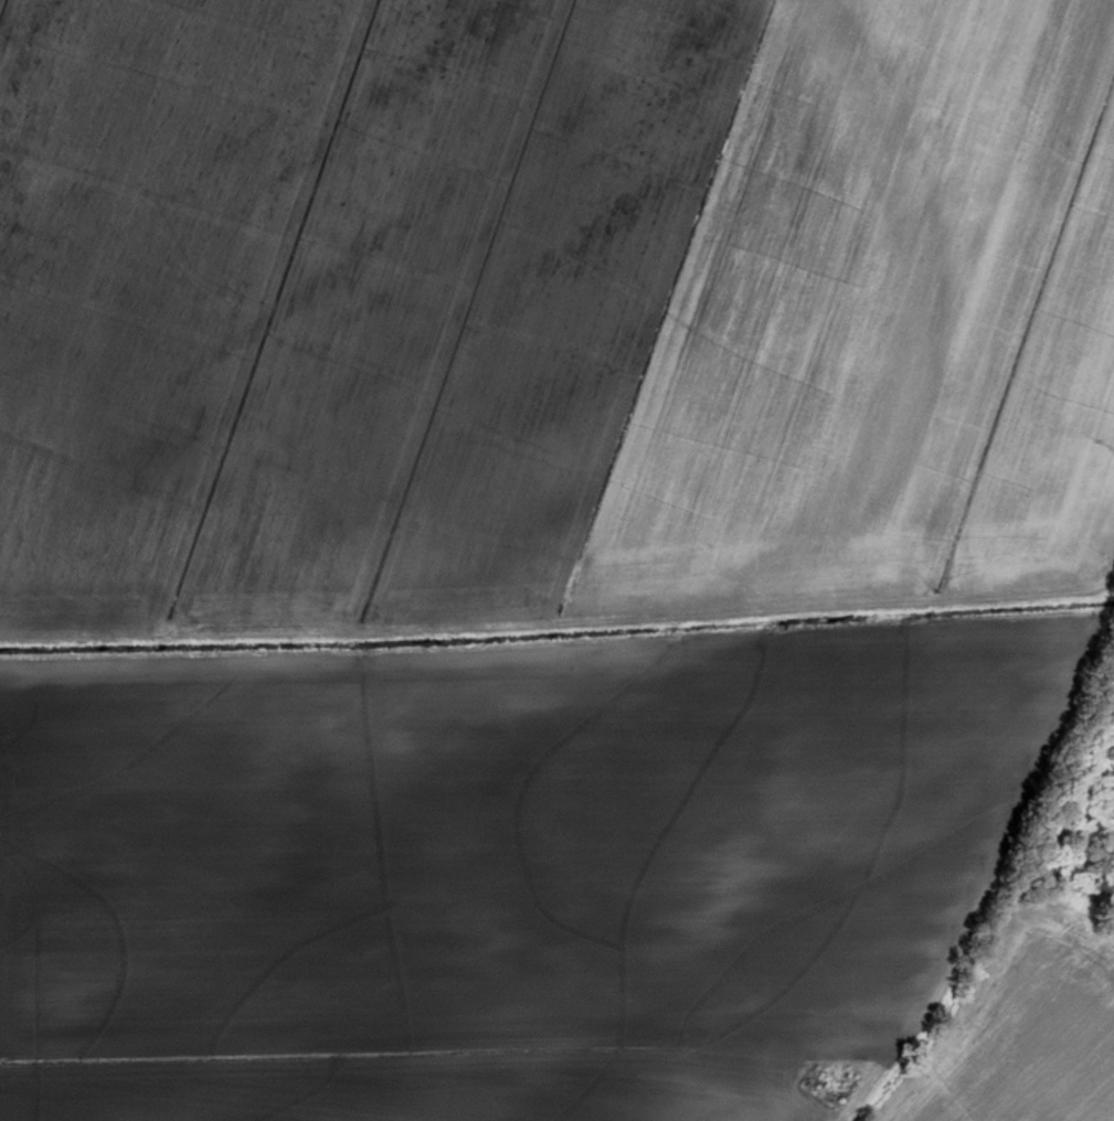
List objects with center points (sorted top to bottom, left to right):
building: (837, 1093)

